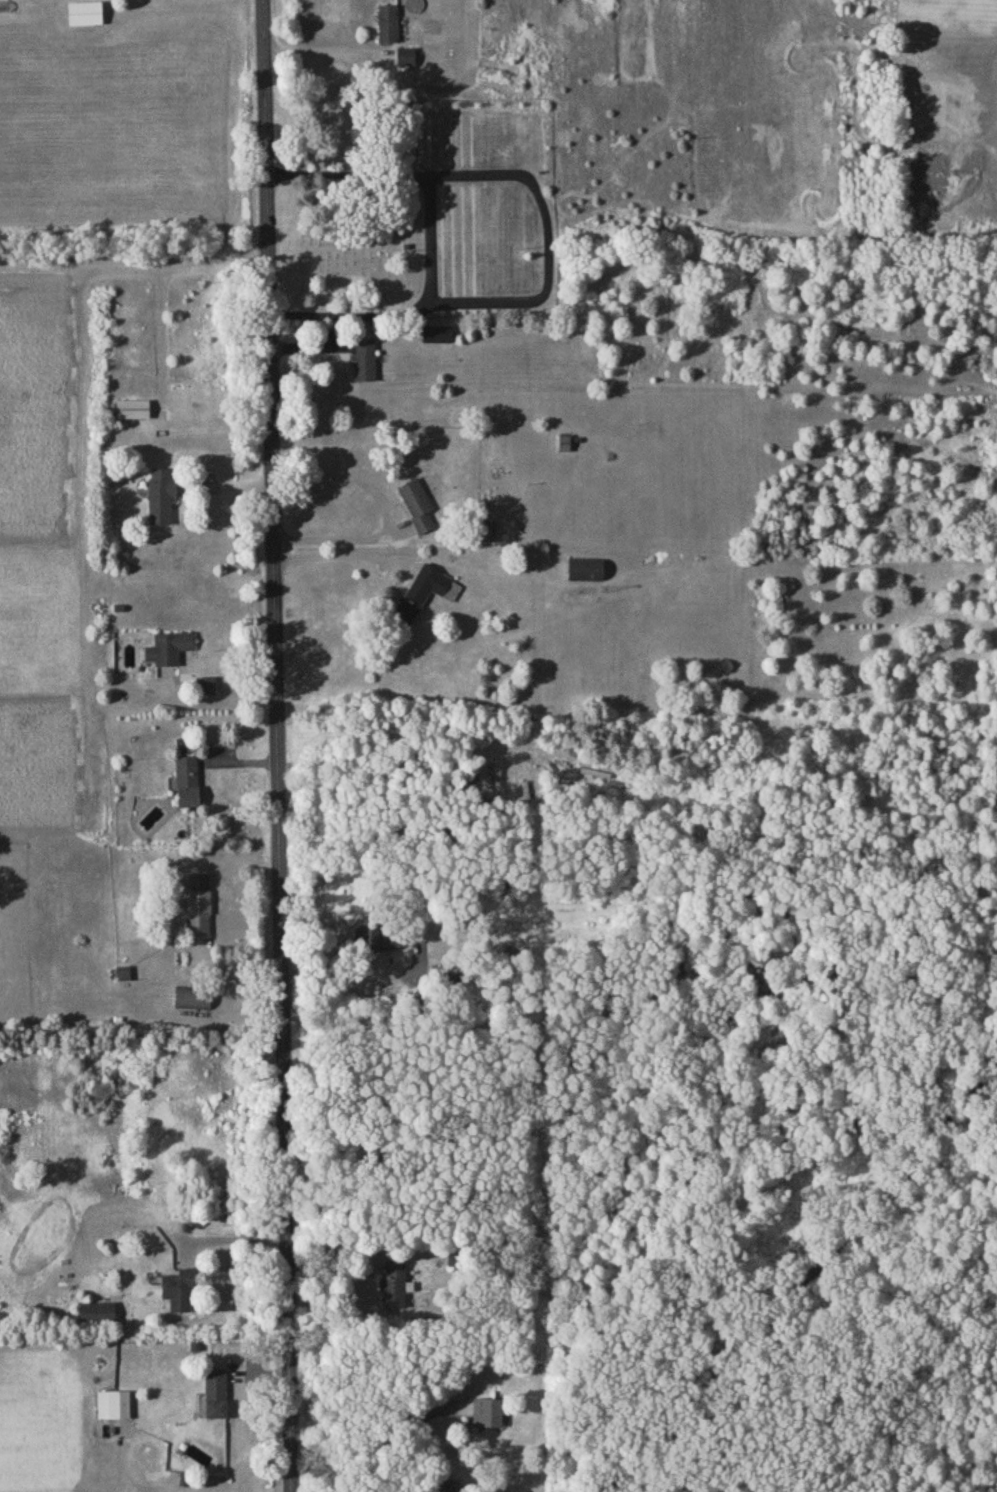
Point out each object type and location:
building: (387, 22)
road: (321, 51)
building: (405, 55)
park: (350, 204)
road: (135, 264)
building: (362, 359)
building: (160, 494)
building: (416, 504)
road: (339, 532)
road: (339, 549)
building: (424, 591)
building: (167, 647)
building: (205, 684)
road: (273, 746)
building: (186, 780)
building: (197, 902)
building: (370, 935)
road: (348, 971)
building: (192, 996)
road: (228, 1237)
building: (392, 1283)
building: (178, 1287)
building: (96, 1310)
building: (214, 1391)
building: (112, 1403)
building: (486, 1411)

